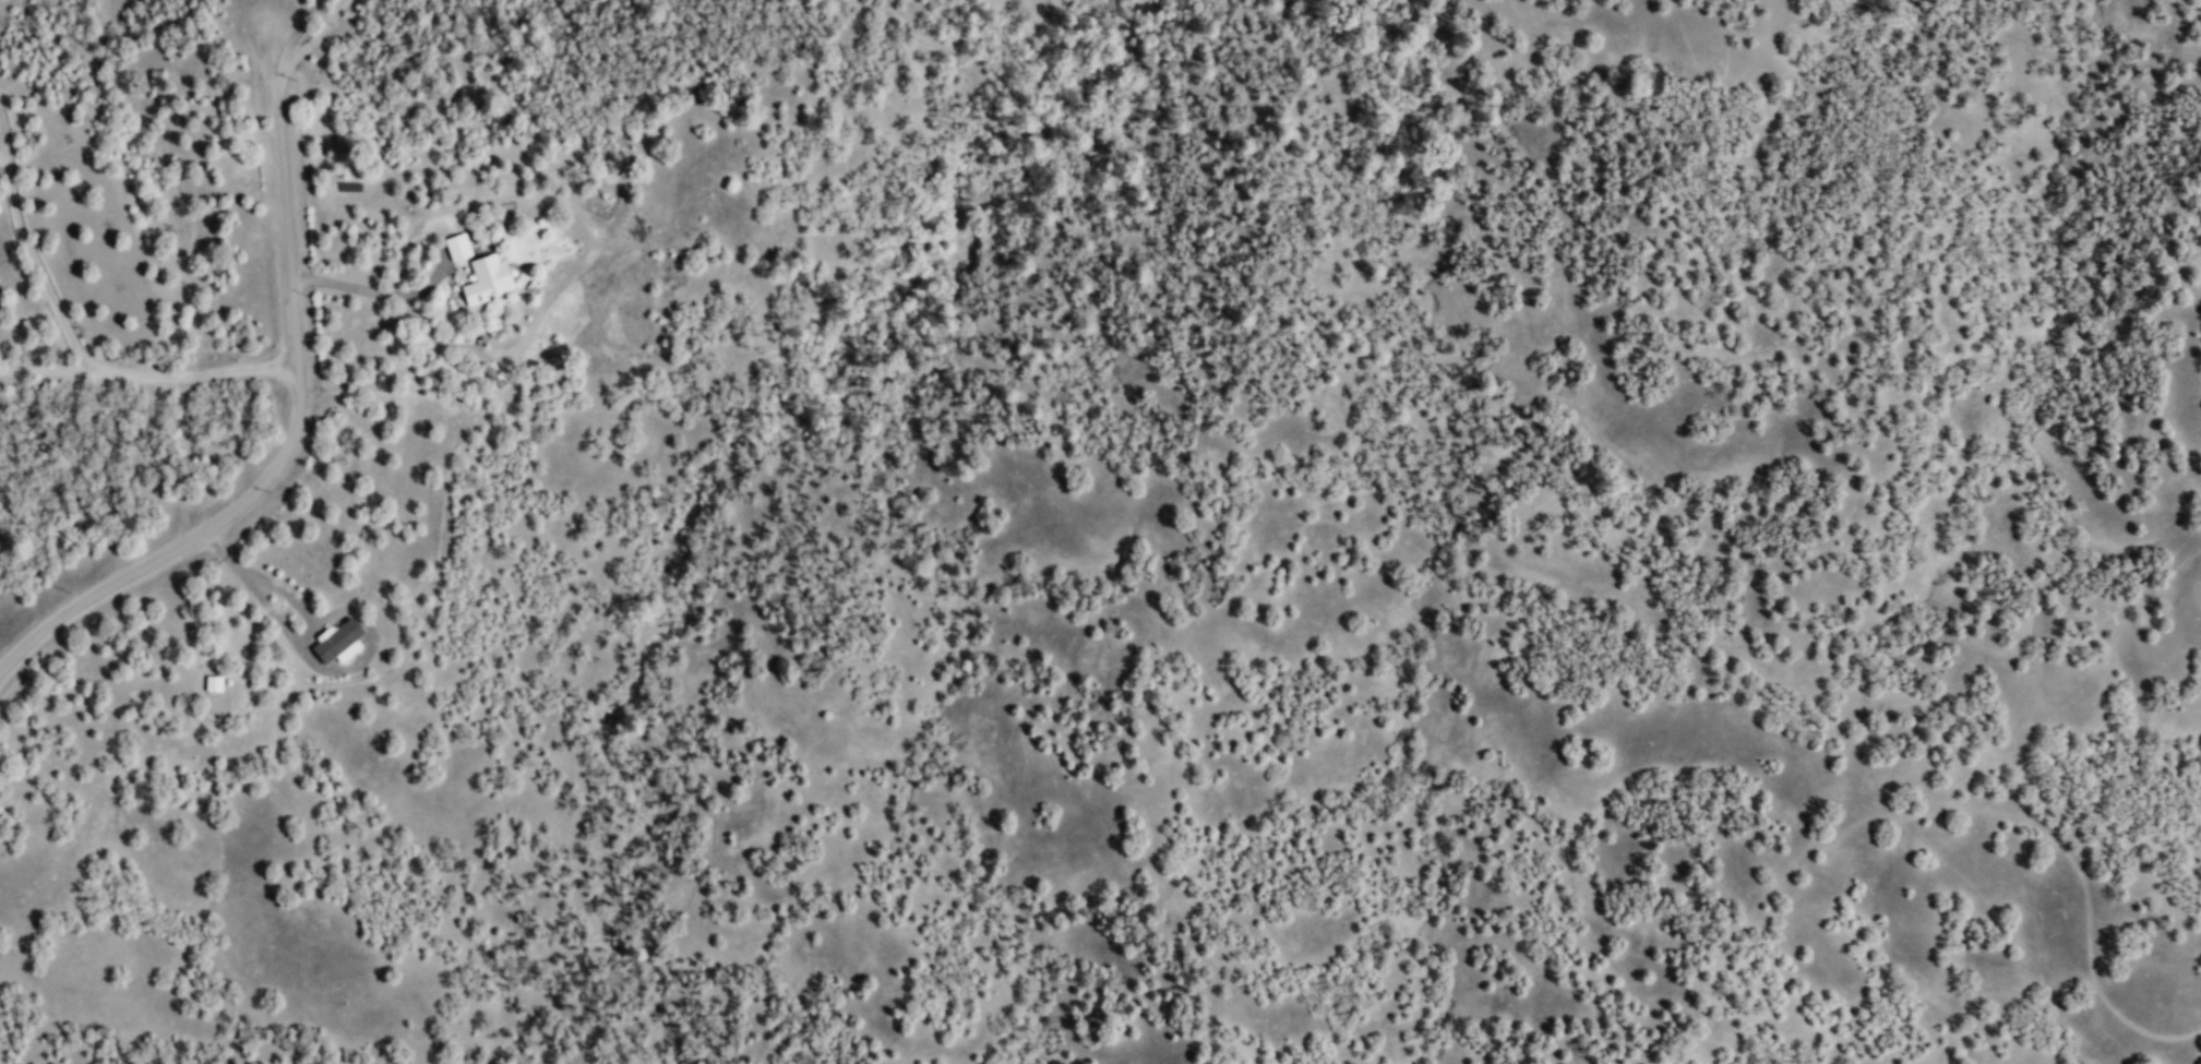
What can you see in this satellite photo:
road: (4, 127)
road: (4, 146)
building: (457, 247)
road: (37, 266)
building: (487, 278)
road: (373, 292)
road: (148, 375)
road: (295, 426)
building: (336, 643)

